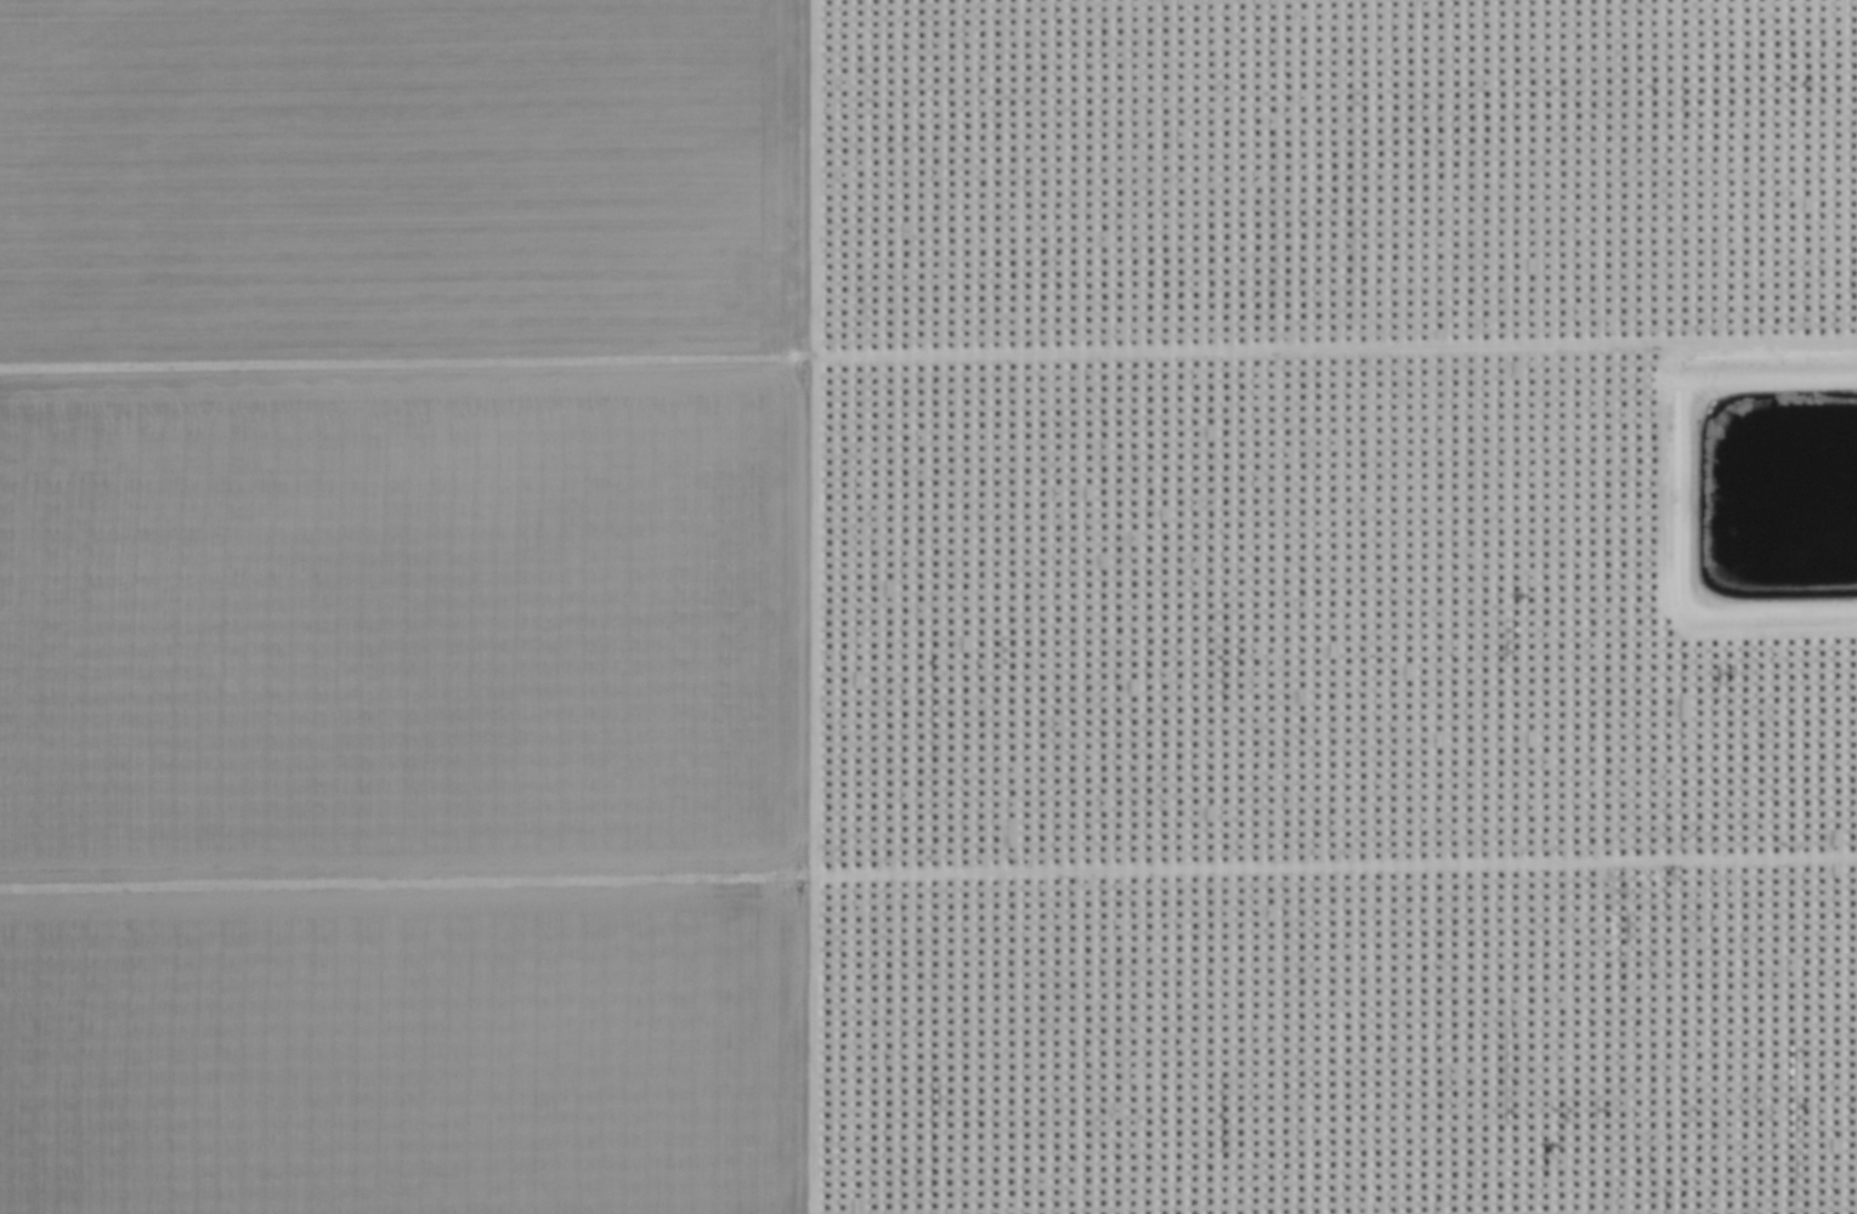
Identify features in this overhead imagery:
road: (928, 844)

